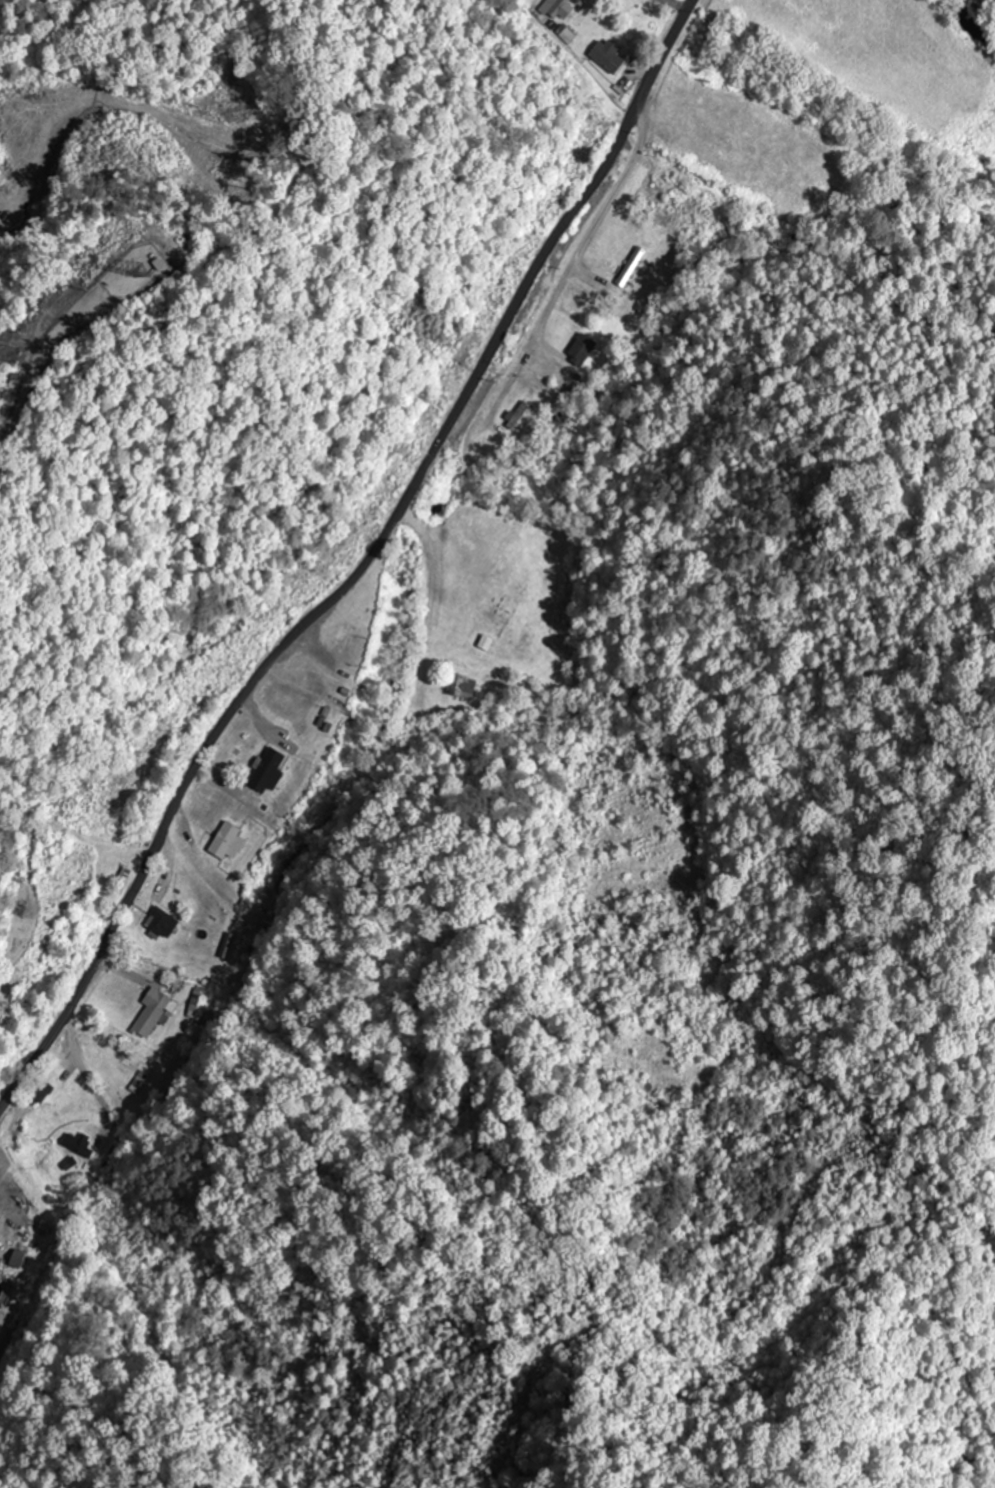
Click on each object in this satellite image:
building: (603, 56)
building: (628, 267)
building: (579, 348)
road: (33, 372)
building: (517, 414)
road: (419, 485)
road: (356, 559)
building: (462, 687)
building: (265, 770)
building: (158, 922)
building: (151, 1016)
building: (34, 1095)
building: (76, 1143)
building: (14, 1258)

